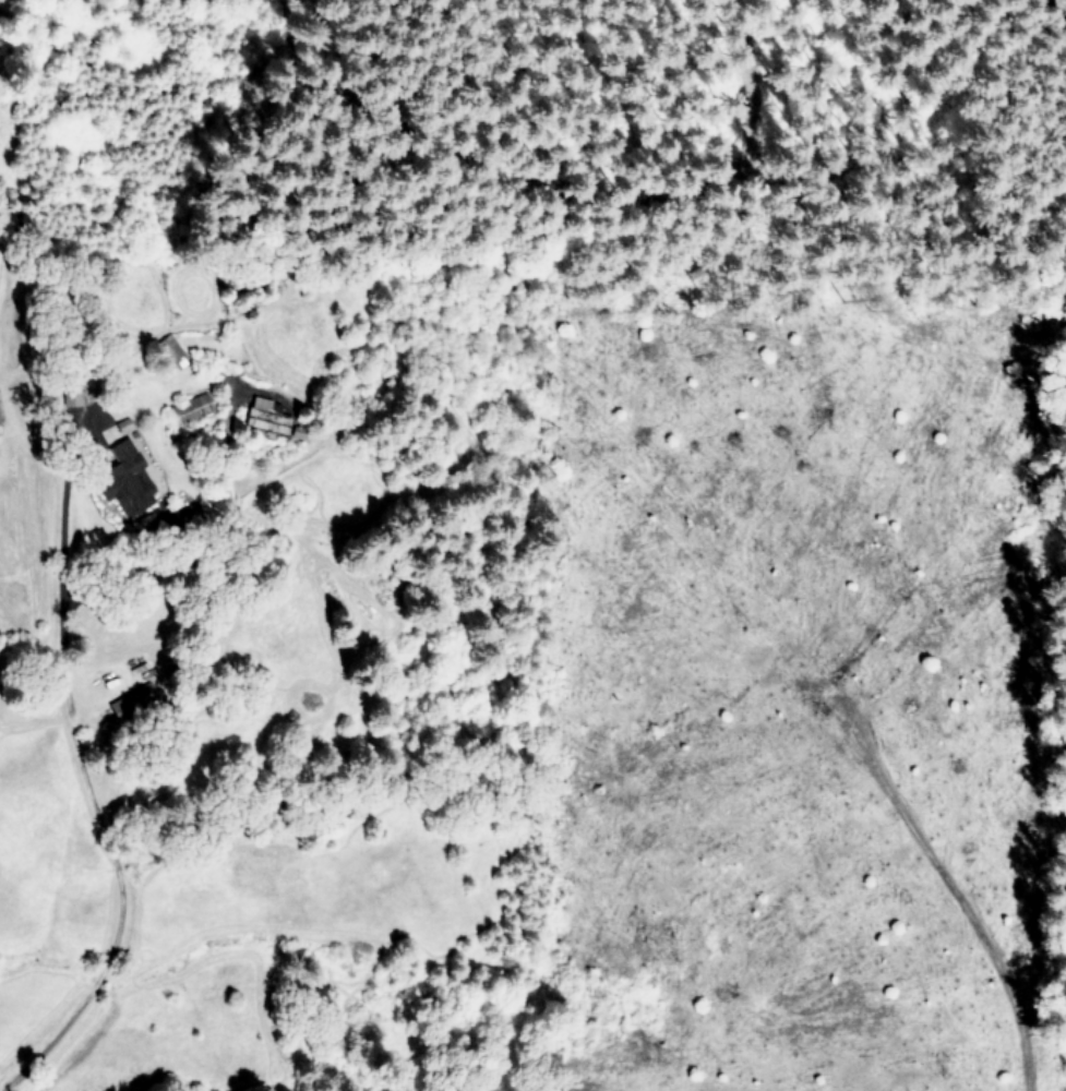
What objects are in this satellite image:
road: (81, 784)

